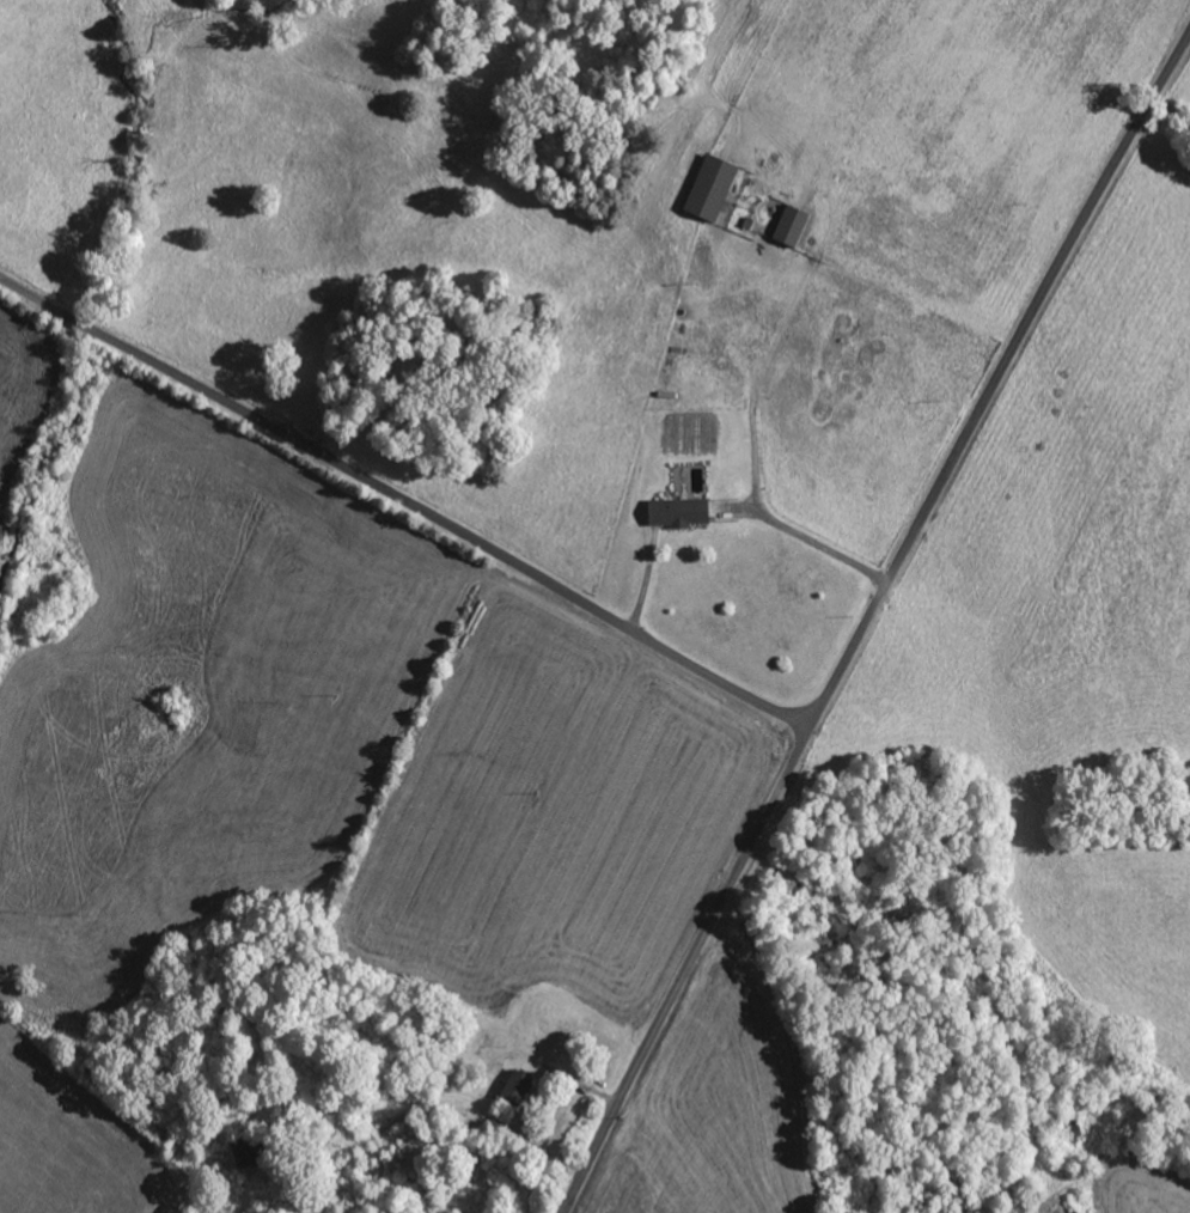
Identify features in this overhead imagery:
building: (704, 191)
building: (786, 230)
road: (405, 501)
building: (671, 516)
road: (868, 622)

